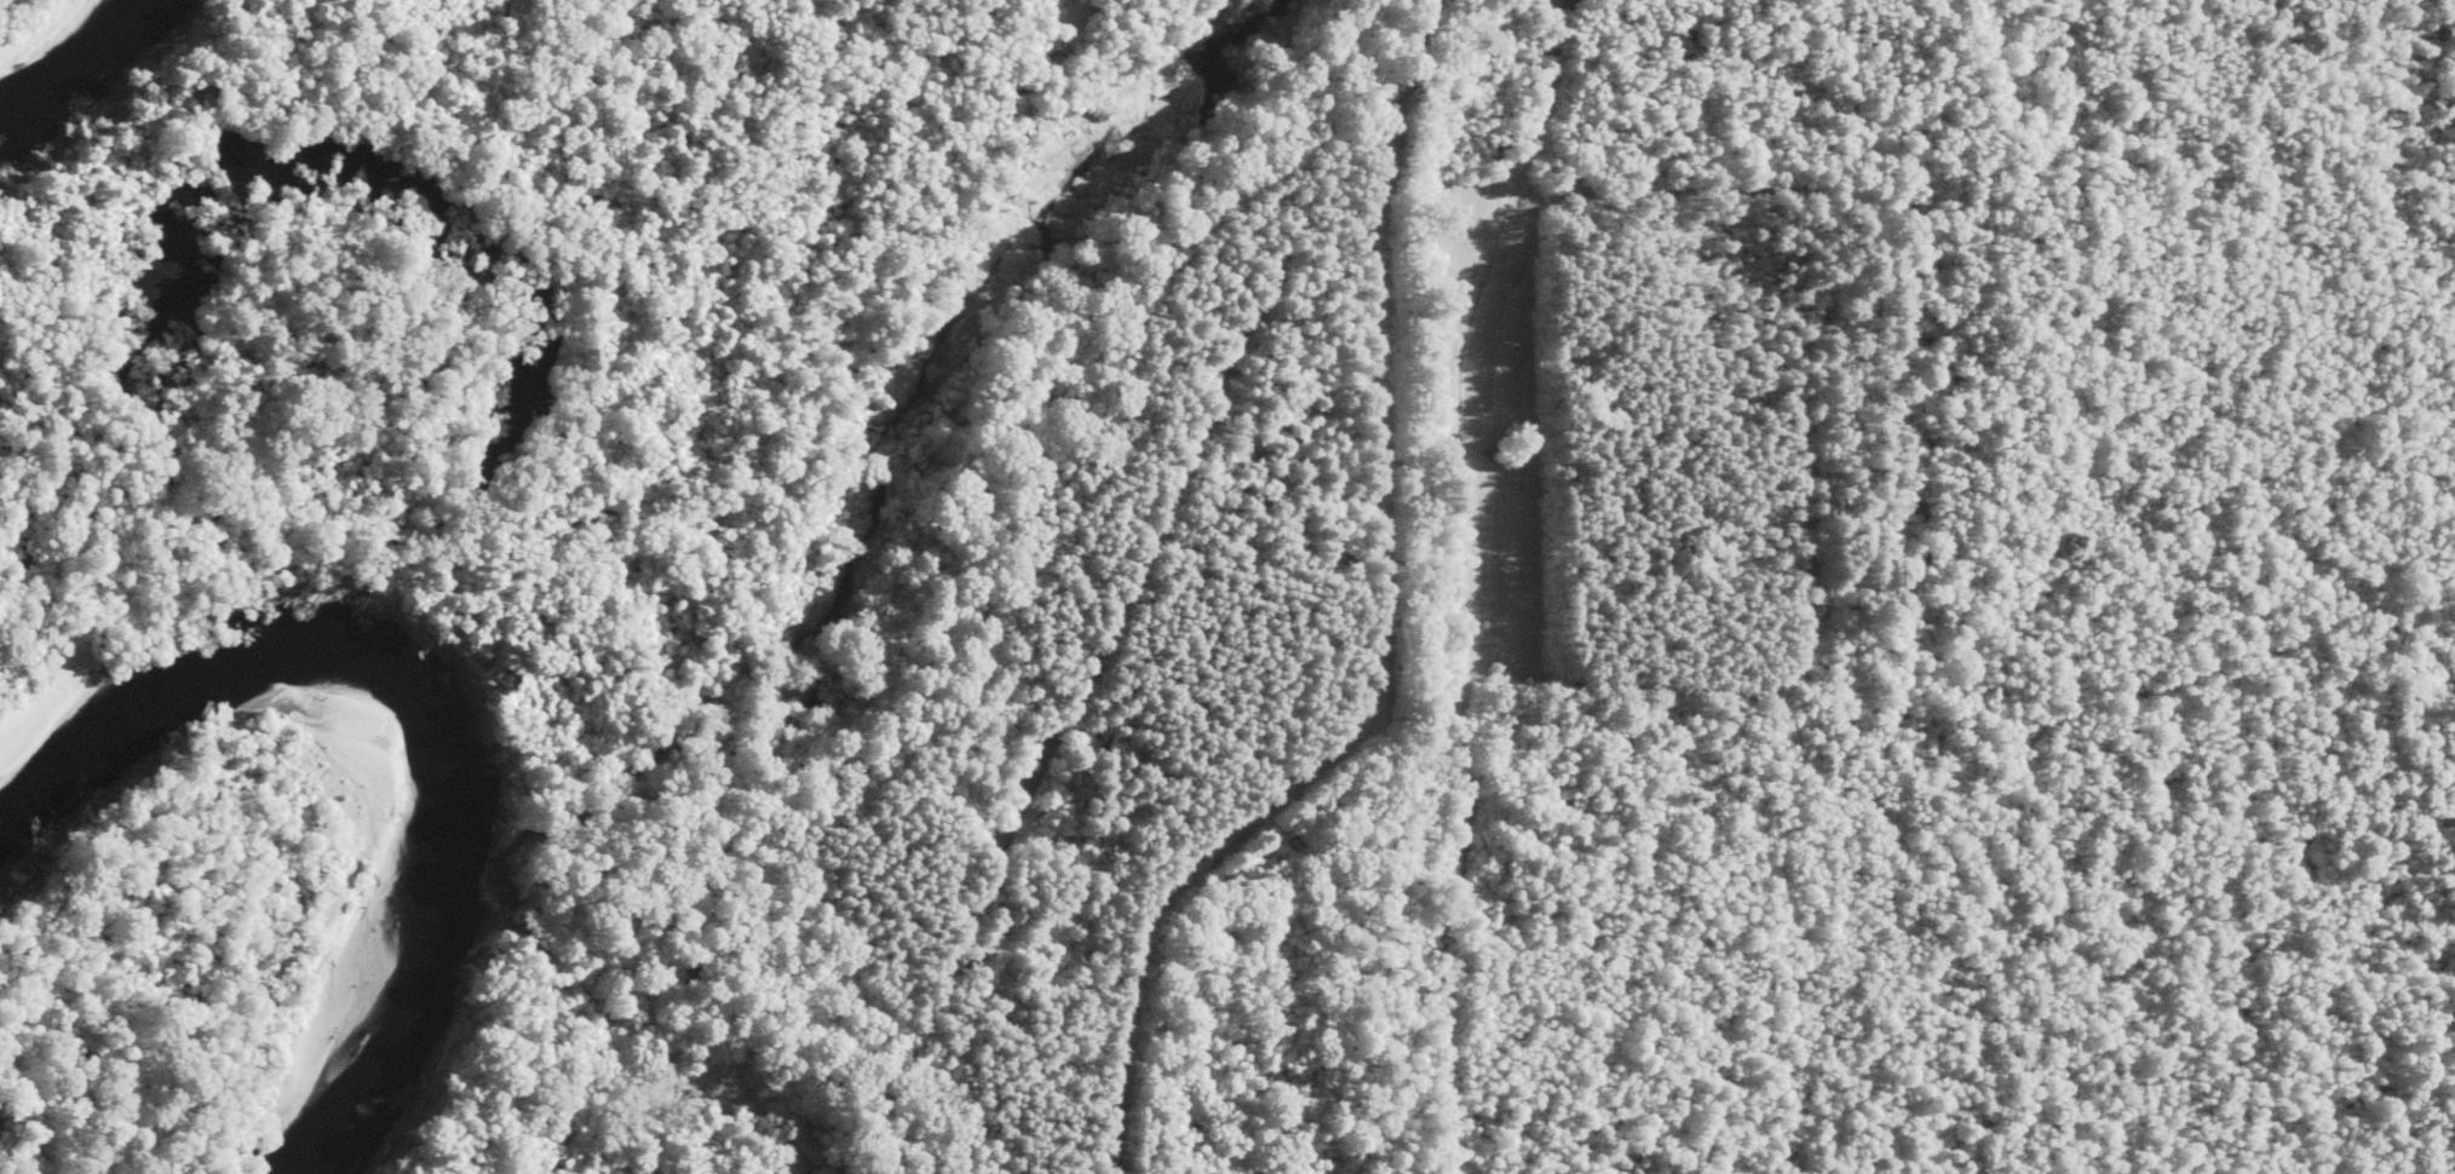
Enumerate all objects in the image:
river: (40, 29)
river: (376, 754)

